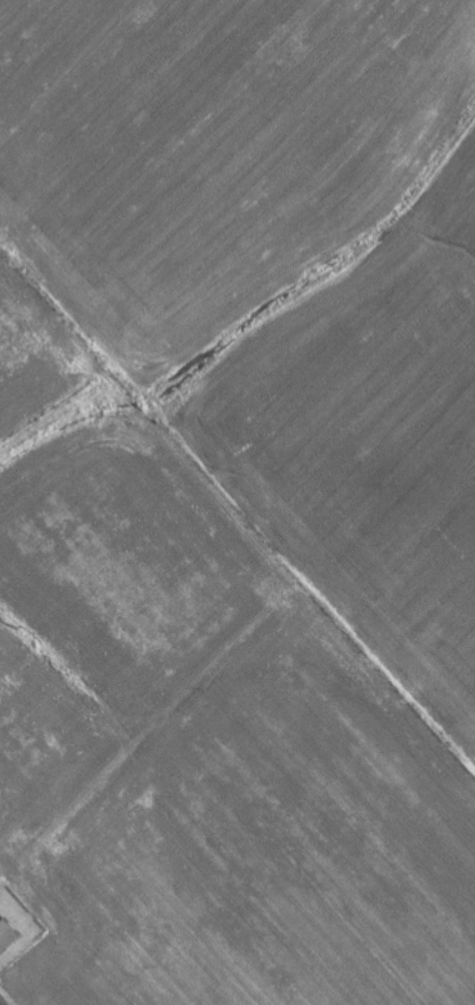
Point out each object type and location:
building: (6, 933)

